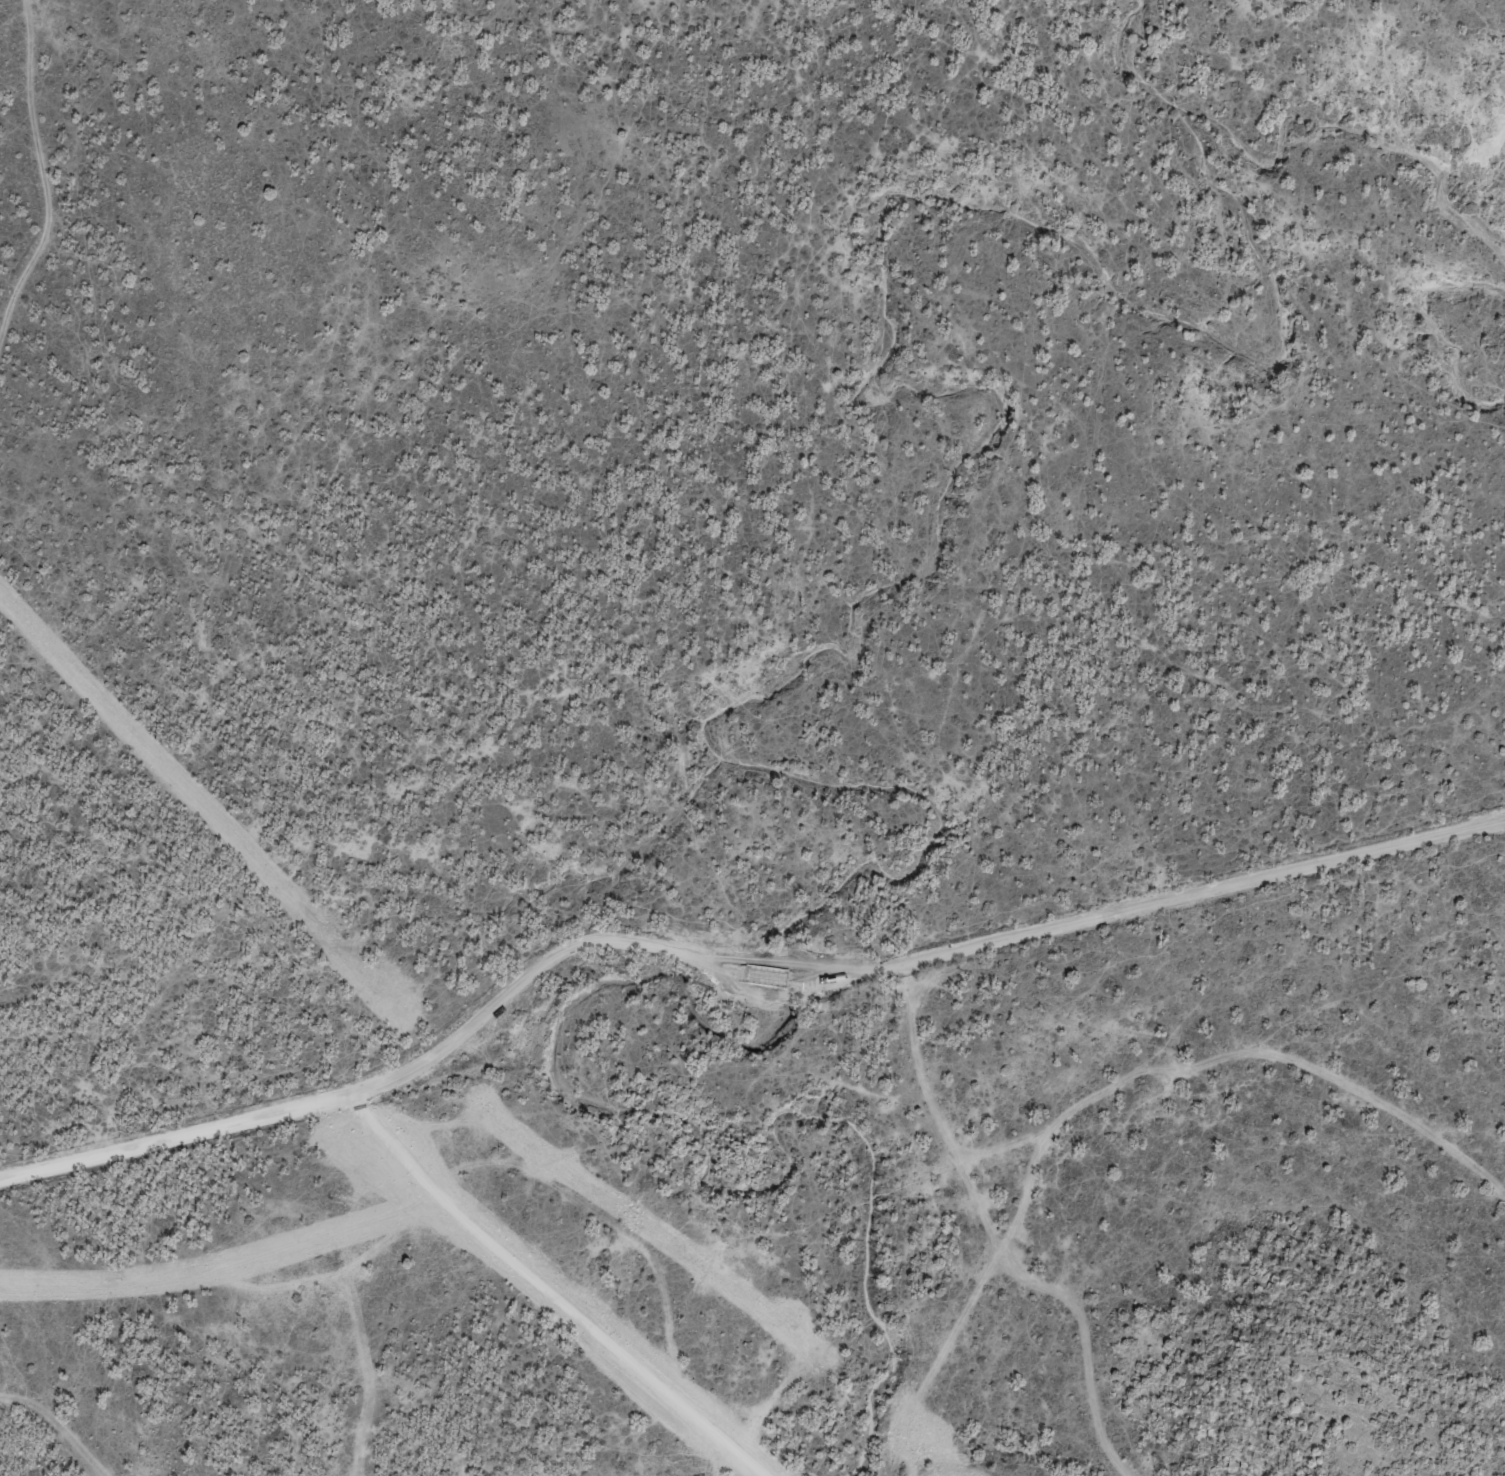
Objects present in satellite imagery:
road: (46, 161)
road: (735, 967)
road: (1219, 1078)
road: (999, 1231)
road: (549, 1293)

